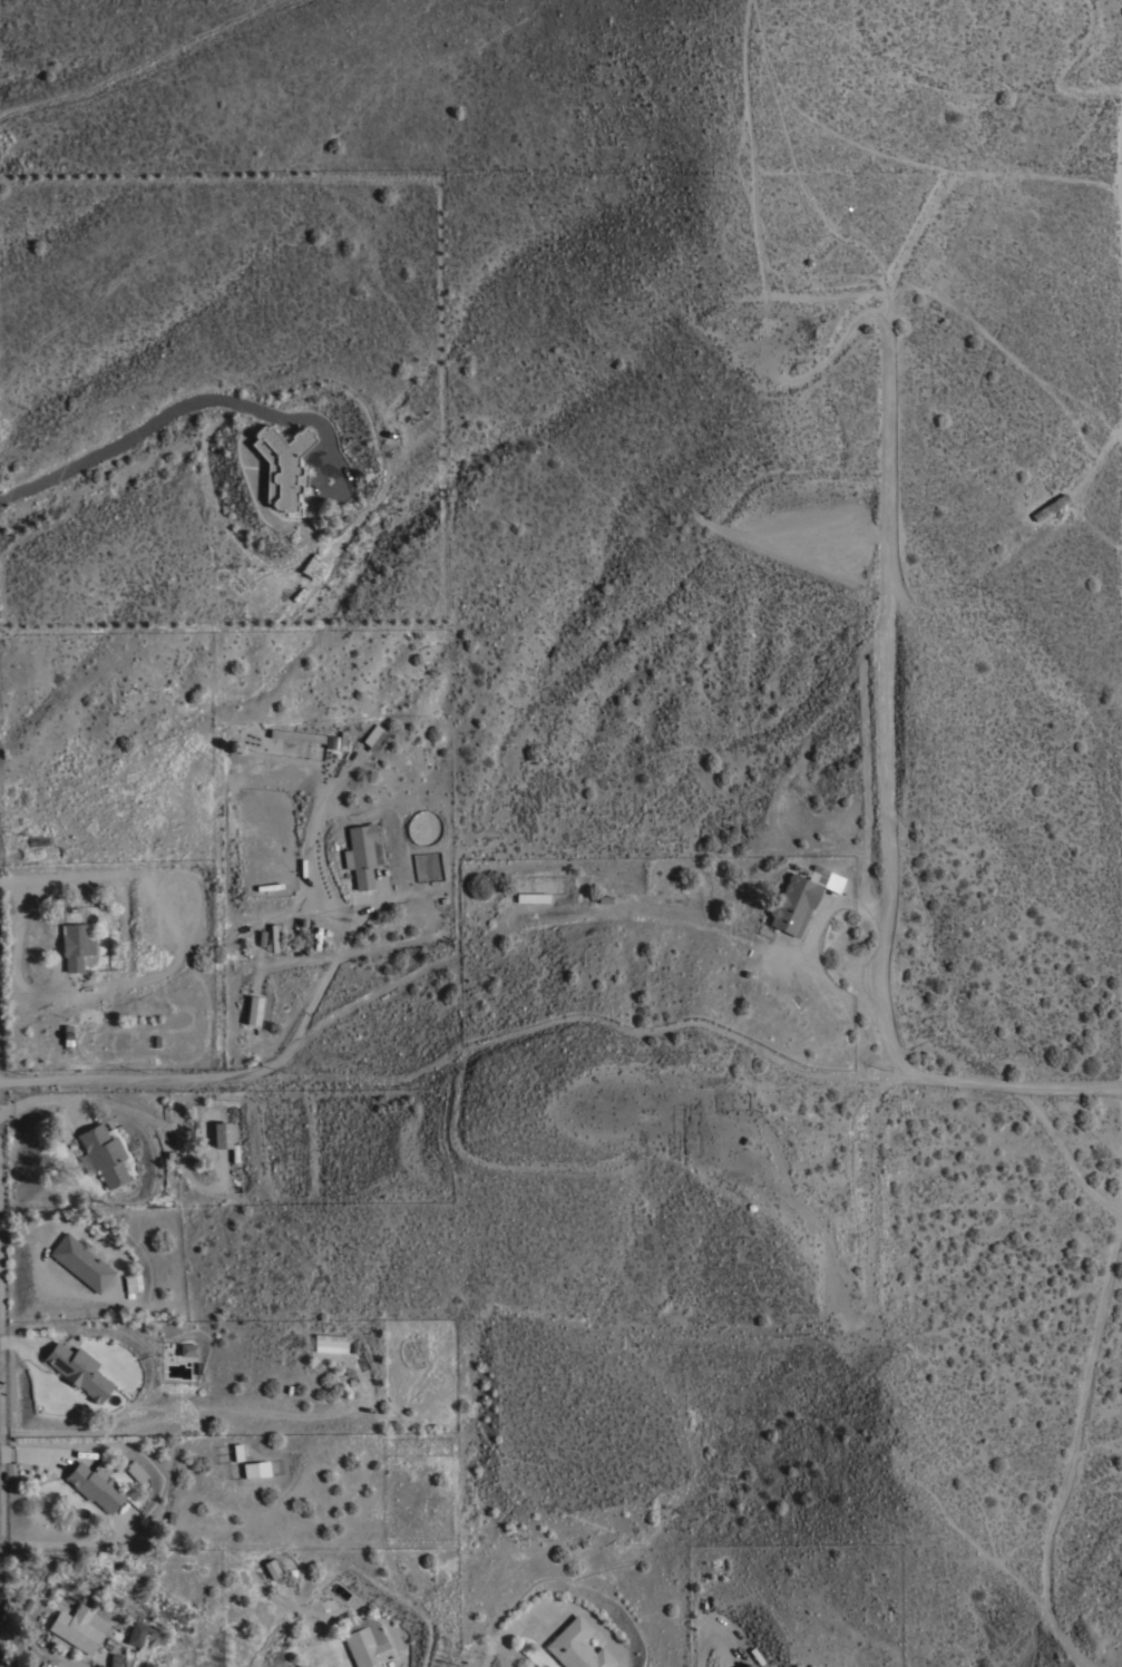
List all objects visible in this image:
road: (182, 407)
building: (281, 465)
building: (1048, 506)
building: (313, 738)
building: (373, 738)
building: (360, 854)
building: (533, 897)
building: (800, 899)
road: (813, 939)
road: (341, 944)
building: (75, 945)
building: (252, 1011)
road: (564, 1017)
building: (221, 1134)
building: (103, 1153)
road: (1065, 1154)
building: (82, 1260)
building: (131, 1284)
building: (330, 1344)
building: (188, 1349)
building: (78, 1369)
road: (1073, 1449)
building: (236, 1451)
building: (255, 1469)
building: (136, 1471)
building: (95, 1485)
building: (273, 1567)
building: (79, 1627)
road: (713, 1629)
building: (136, 1634)
building: (367, 1642)
building: (576, 1647)
building: (114, 1659)
road: (488, 1663)
building: (748, 1665)

